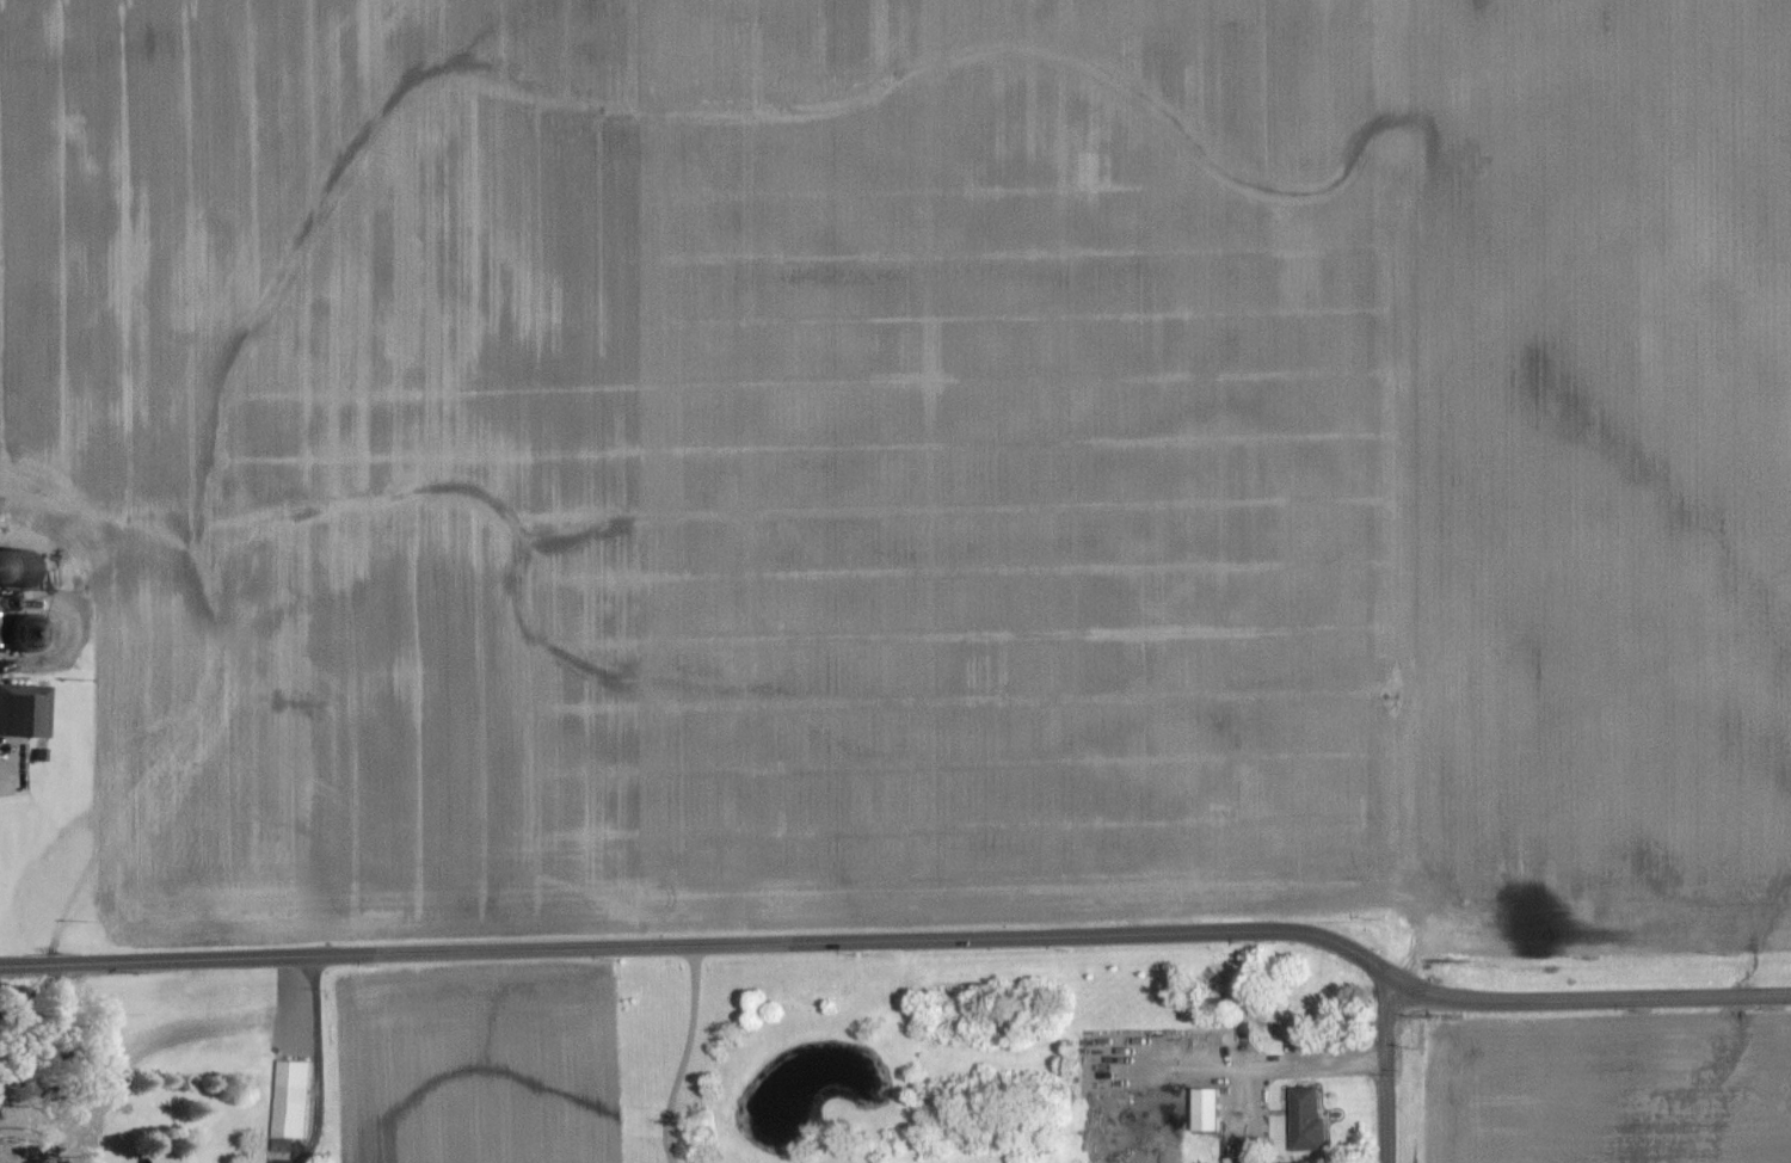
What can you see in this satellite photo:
building: (24, 712)
road: (708, 943)
road: (1595, 998)
road: (685, 1056)
road: (330, 1060)
road: (1273, 1066)
road: (1385, 1071)
building: (294, 1100)
building: (1208, 1110)
building: (1309, 1119)

